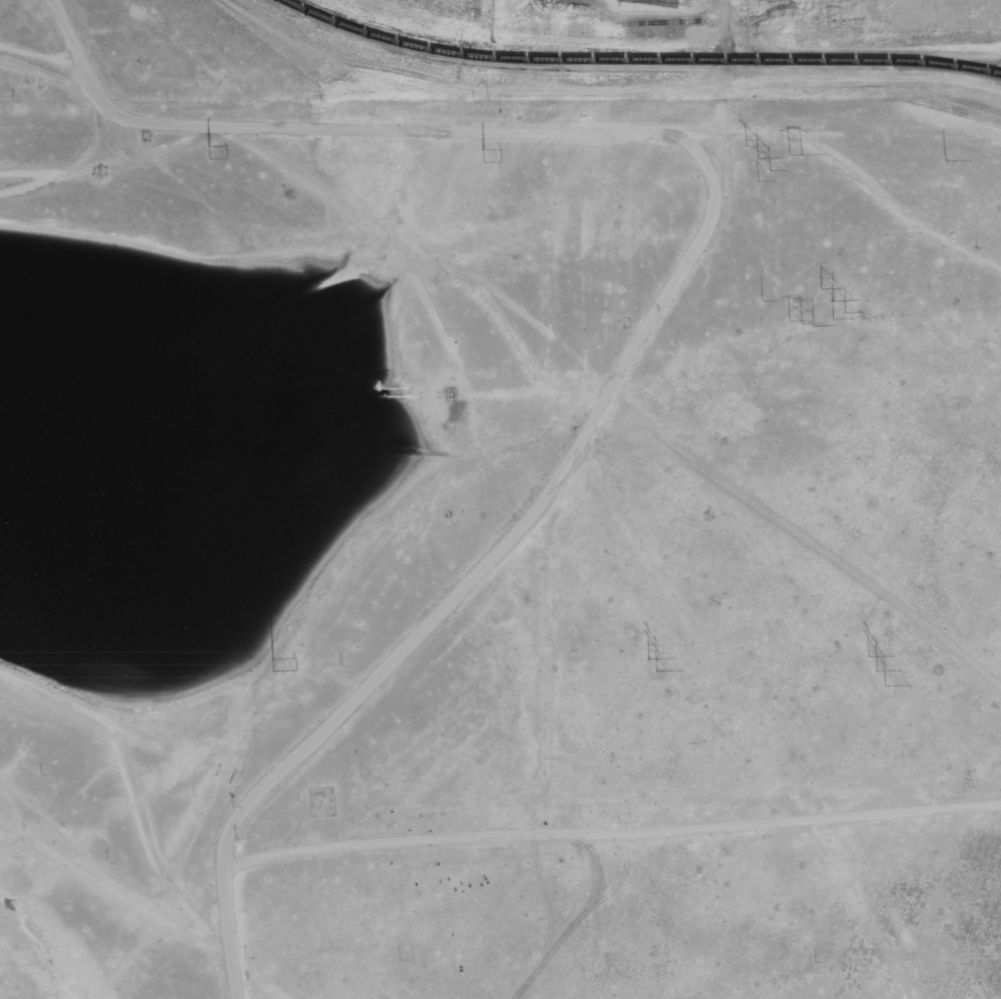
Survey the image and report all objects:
power tower: (831, 28)
power plant: (500, 50)
railway: (578, 61)
railway: (947, 62)
railway: (947, 66)
power tower: (206, 152)
power tower: (479, 154)
power tower: (792, 155)
power tower: (755, 159)
power tower: (833, 303)
power tower: (798, 322)
power plant: (500, 549)
power tower: (247, 663)
power tower: (649, 663)
power tower: (874, 671)

